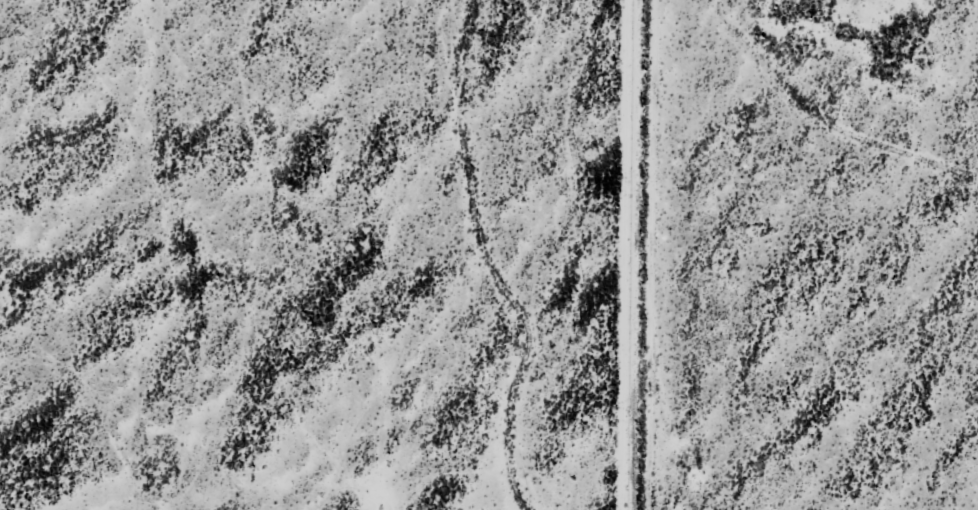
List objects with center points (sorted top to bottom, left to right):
road: (624, 255)

